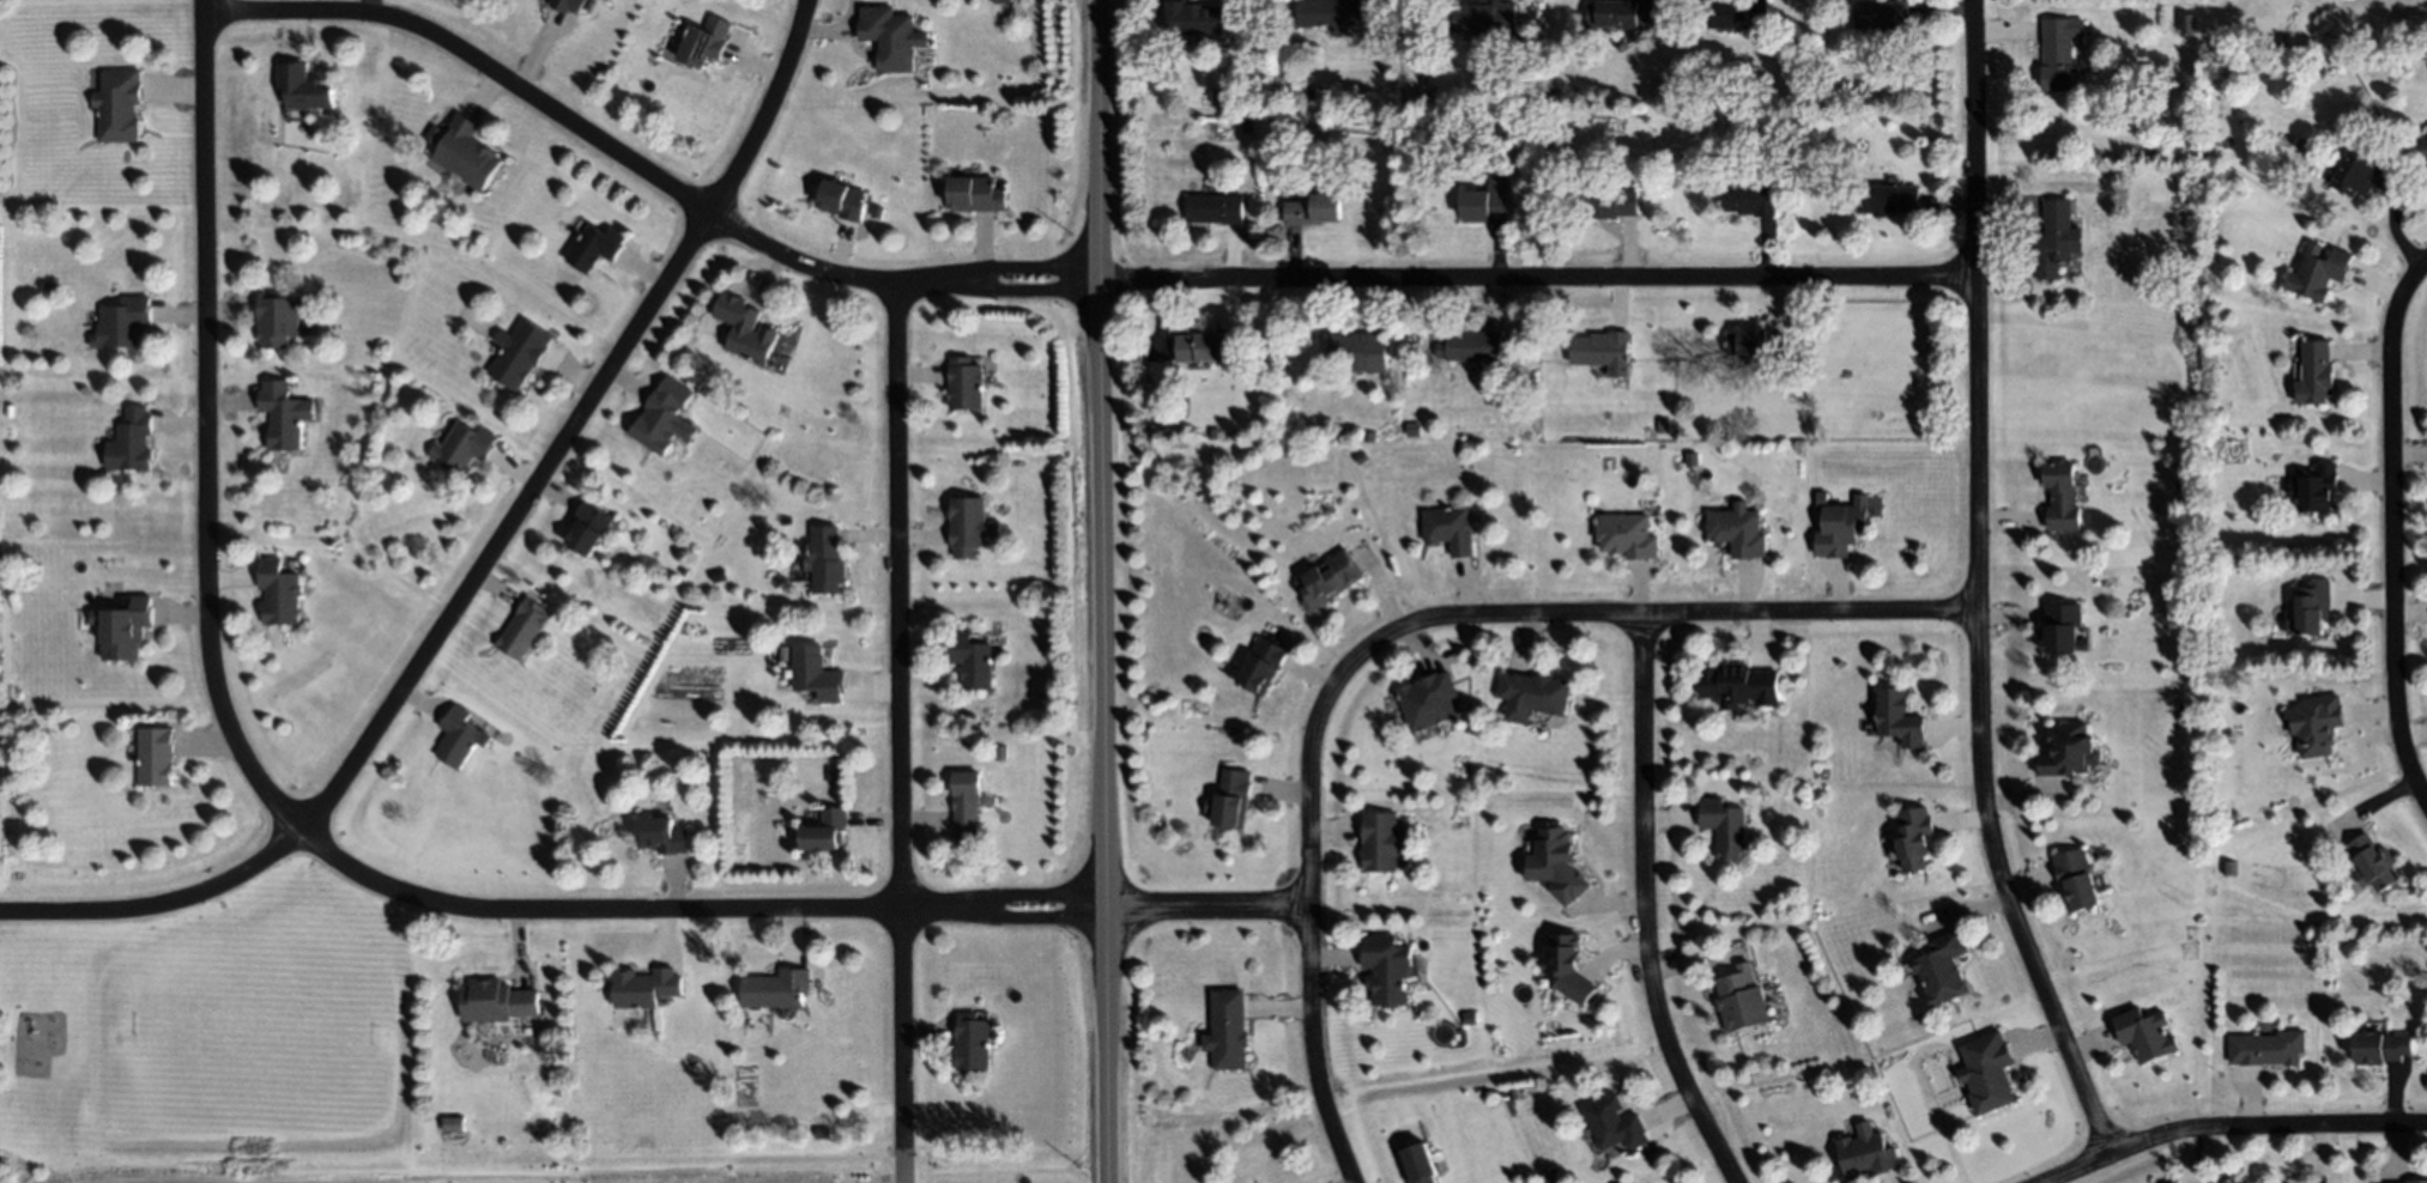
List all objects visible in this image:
building: (568, 5)
building: (1330, 12)
building: (1618, 12)
building: (1736, 12)
building: (1193, 17)
building: (1484, 17)
building: (1884, 20)
building: (2187, 23)
building: (891, 36)
building: (703, 40)
building: (1509, 45)
building: (2058, 51)
building: (304, 86)
building: (117, 104)
building: (1247, 125)
building: (2423, 148)
road: (617, 150)
building: (466, 153)
building: (2358, 171)
building: (975, 194)
building: (1747, 198)
building: (1888, 199)
building: (842, 201)
building: (1485, 202)
building: (1605, 202)
building: (1216, 207)
building: (1314, 208)
building: (2054, 238)
building: (598, 245)
building: (2183, 273)
building: (2319, 273)
road: (1505, 281)
building: (277, 318)
building: (121, 322)
building: (750, 333)
building: (1754, 341)
building: (1206, 346)
building: (1472, 346)
building: (1361, 350)
building: (519, 351)
building: (1603, 351)
building: (2314, 372)
building: (964, 383)
building: (280, 414)
building: (661, 414)
building: (1414, 430)
building: (1212, 431)
building: (1368, 435)
building: (133, 439)
building: (464, 448)
building: (2314, 487)
building: (2062, 496)
building: (1839, 523)
building: (969, 526)
building: (588, 527)
building: (1448, 529)
building: (1739, 529)
road: (2393, 530)
building: (1626, 535)
road: (484, 558)
building: (827, 560)
building: (1327, 578)
road: (1978, 581)
road: (1106, 590)
building: (277, 593)
building: (2310, 608)
building: (2062, 626)
building: (126, 629)
building: (522, 629)
road: (1392, 631)
building: (972, 661)
building: (1263, 663)
building: (816, 673)
building: (1739, 685)
building: (1533, 694)
building: (1428, 700)
building: (1900, 717)
road: (902, 723)
building: (2314, 726)
building: (458, 736)
building: (2068, 751)
building: (155, 757)
building: (1231, 800)
building: (966, 805)
building: (1725, 826)
building: (827, 830)
building: (661, 835)
building: (1914, 837)
building: (1381, 842)
building: (2369, 863)
building: (1557, 866)
building: (2228, 867)
road: (373, 876)
building: (2076, 879)
road: (1646, 908)
building: (1943, 967)
building: (1387, 969)
building: (1570, 969)
building: (646, 987)
building: (777, 988)
building: (1741, 999)
building: (495, 1001)
building: (1227, 1030)
building: (2148, 1033)
building: (972, 1042)
building: (2268, 1048)
building: (2379, 1048)
building: (1987, 1070)
building: (452, 1124)
building: (1615, 1124)
road: (2217, 1134)
building: (1865, 1151)
building: (1420, 1164)
road: (904, 1173)
building: (2416, 1182)

